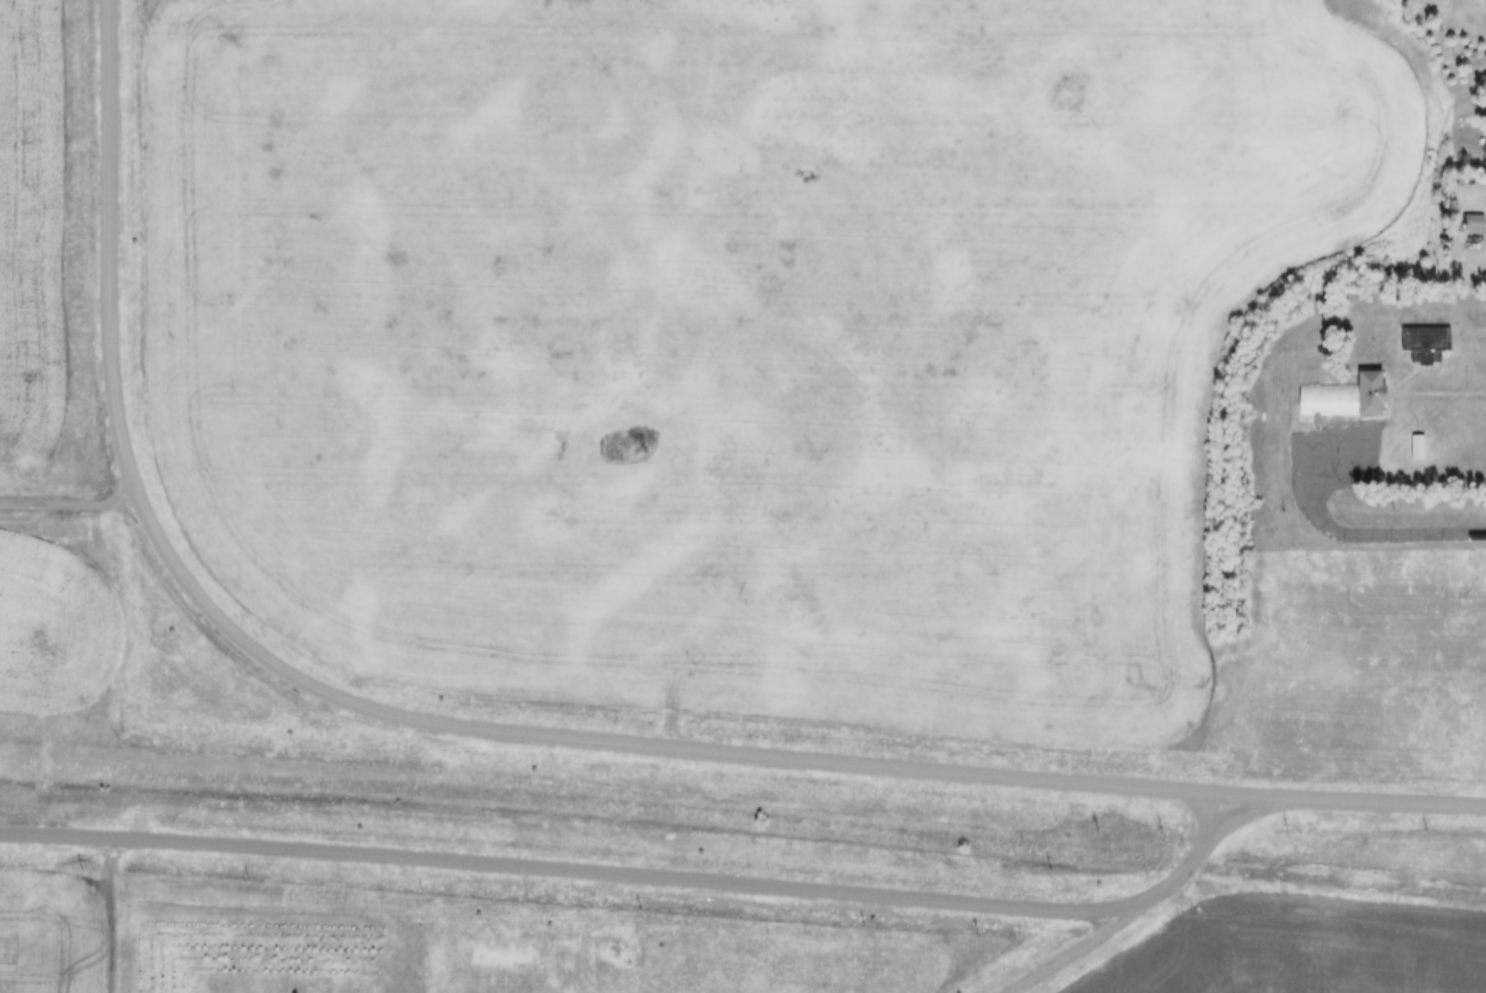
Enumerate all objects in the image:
building: (1466, 173)
building: (1476, 214)
building: (1475, 224)
road: (107, 253)
building: (1426, 336)
building: (1345, 390)
building: (1420, 440)
parking lot: (1344, 446)
road: (1314, 494)
road: (68, 503)
road: (1424, 533)
road: (766, 755)
road: (1233, 823)
road: (640, 875)
road: (106, 912)
road: (1086, 943)

